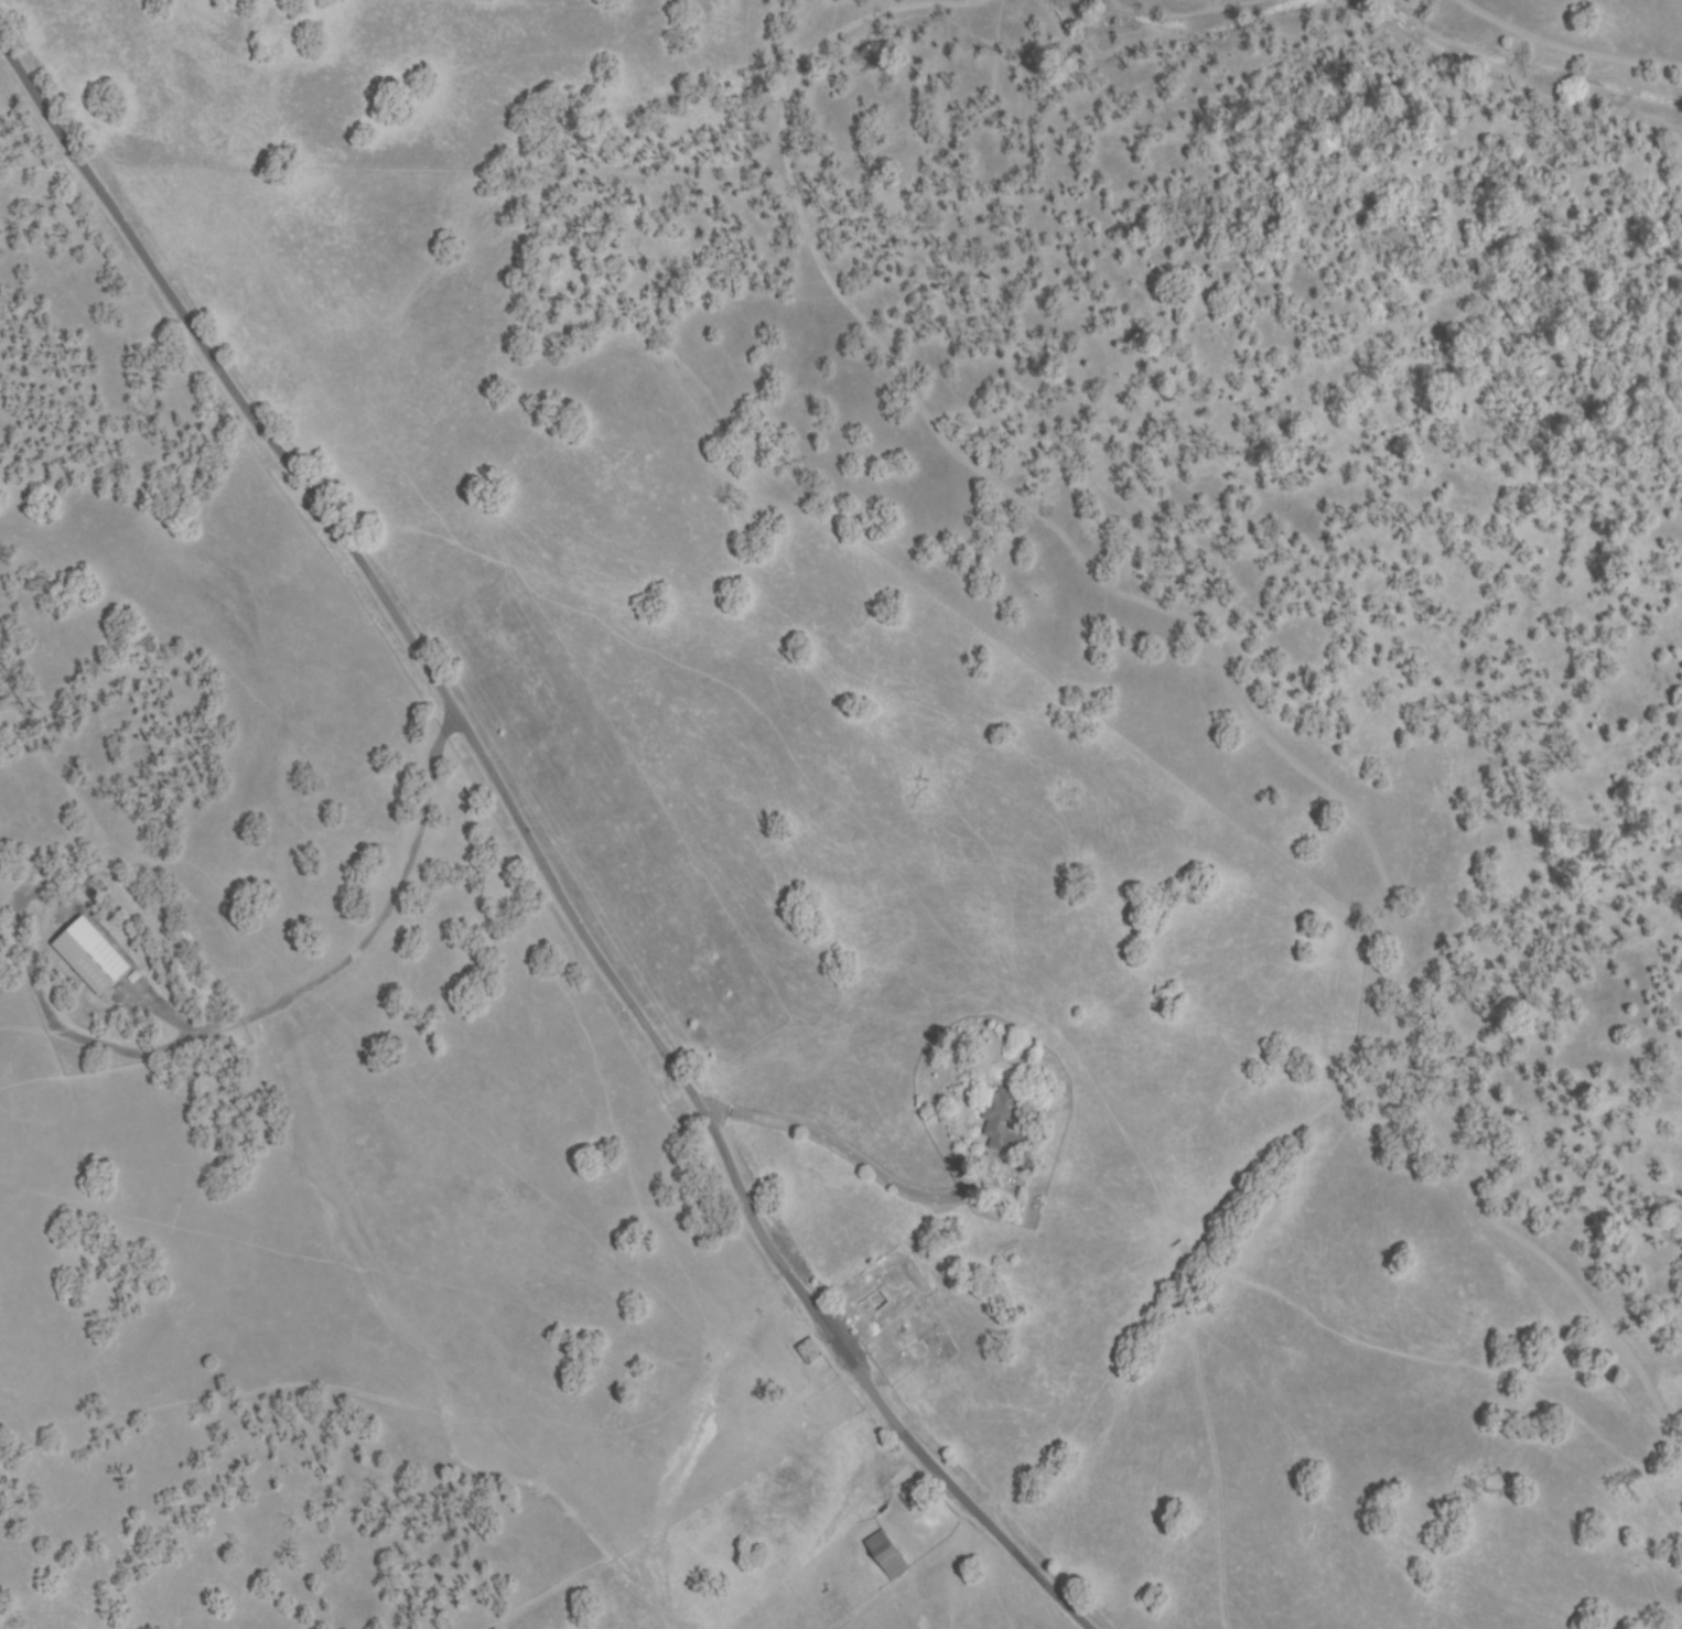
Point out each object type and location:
road: (1566, 56)
road: (1218, 645)
road: (492, 780)
building: (93, 956)
building: (134, 977)
building: (1002, 1122)
road: (843, 1154)
building: (1011, 1255)
storage tank: (998, 1261)
building: (885, 1297)
building: (810, 1351)
building: (886, 1554)
road: (1038, 1572)

